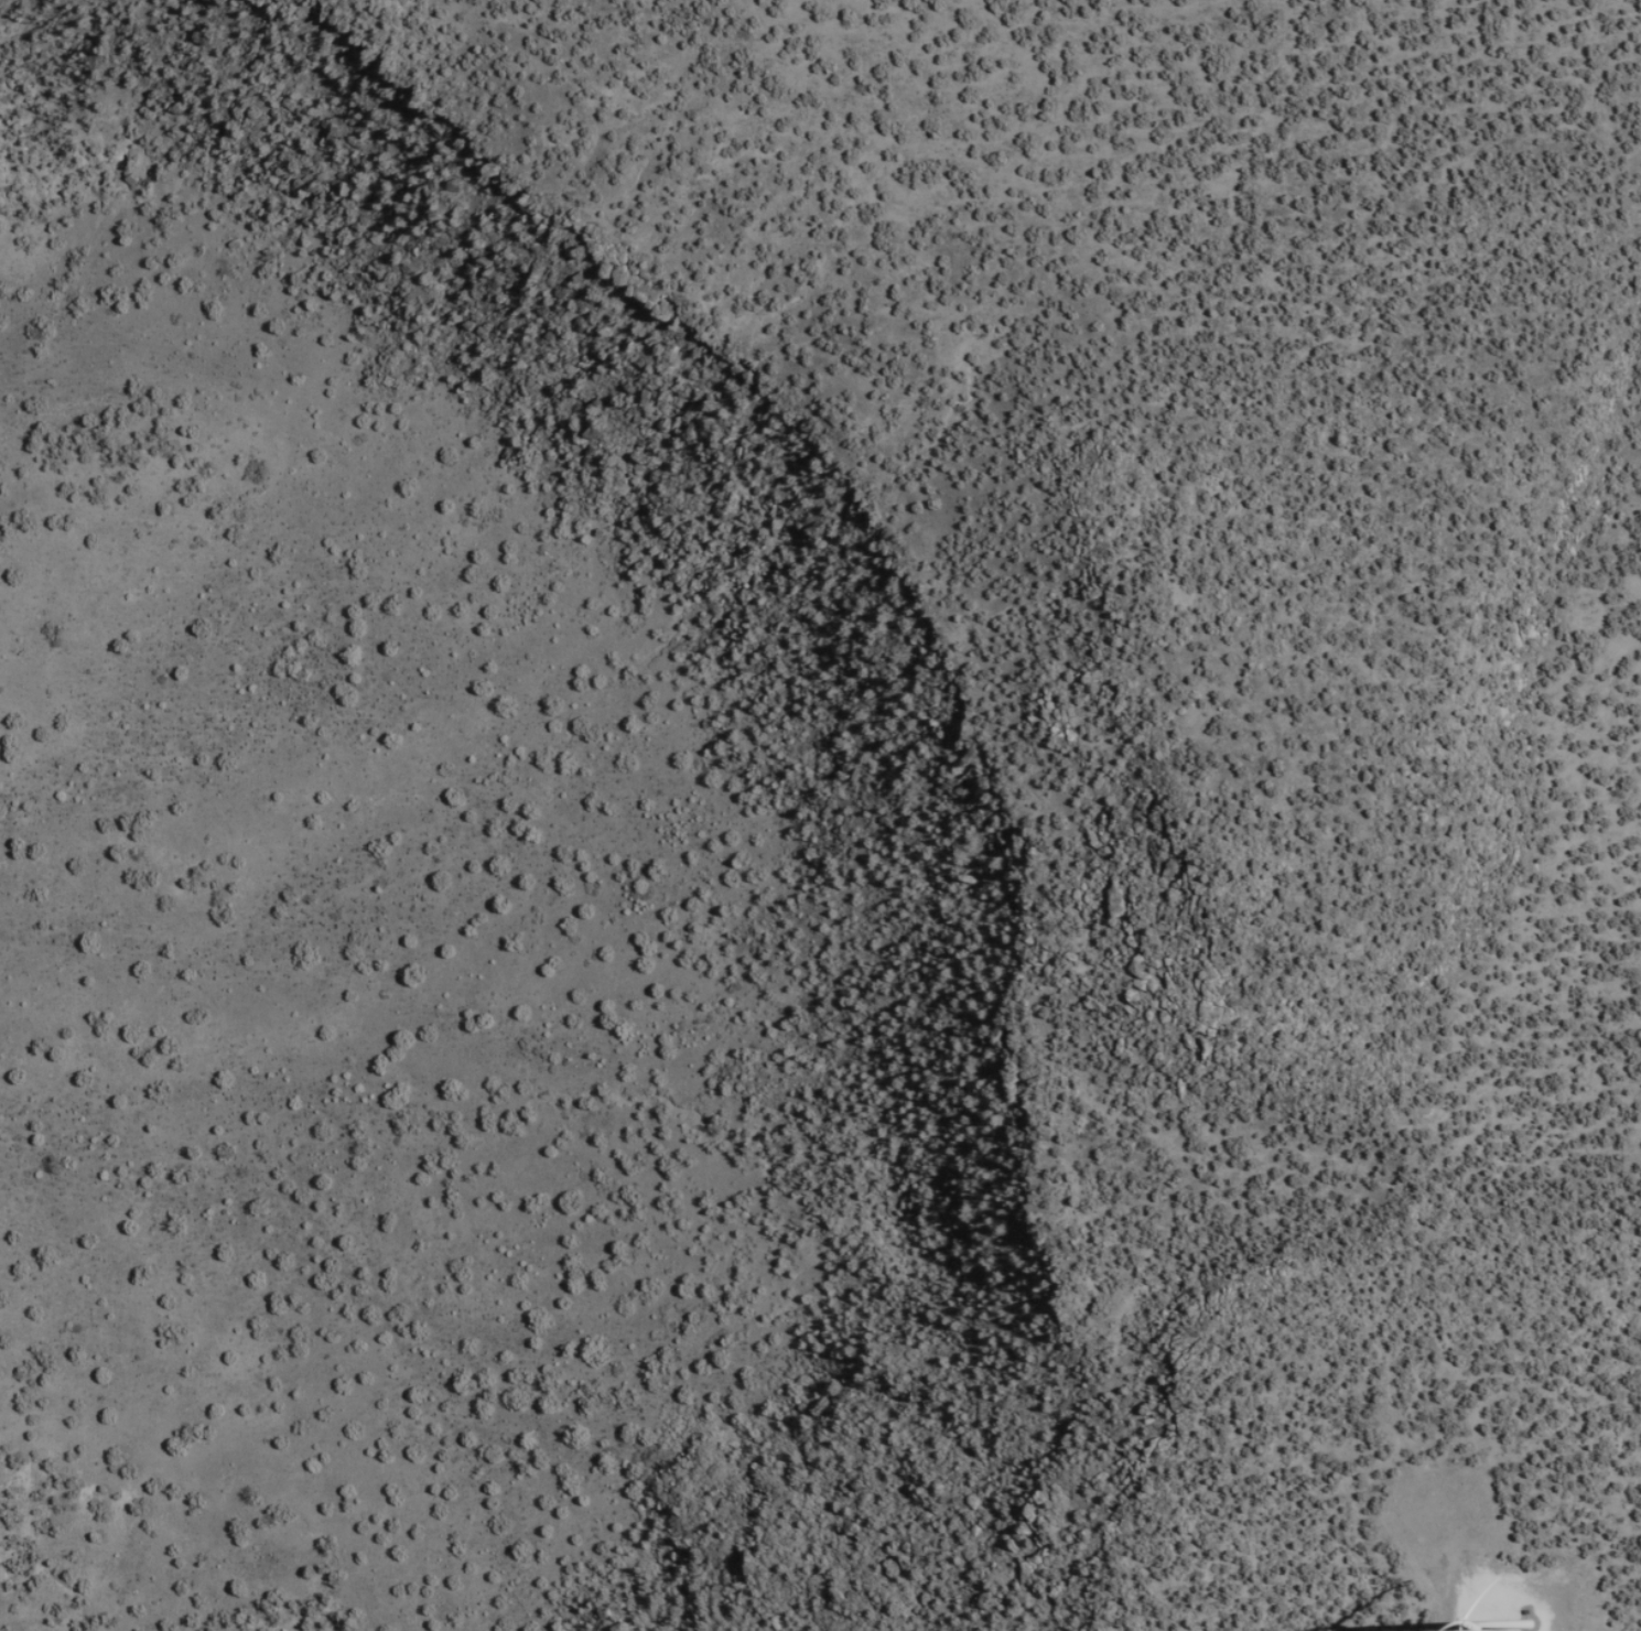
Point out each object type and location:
wind turbine: (1521, 1619)

